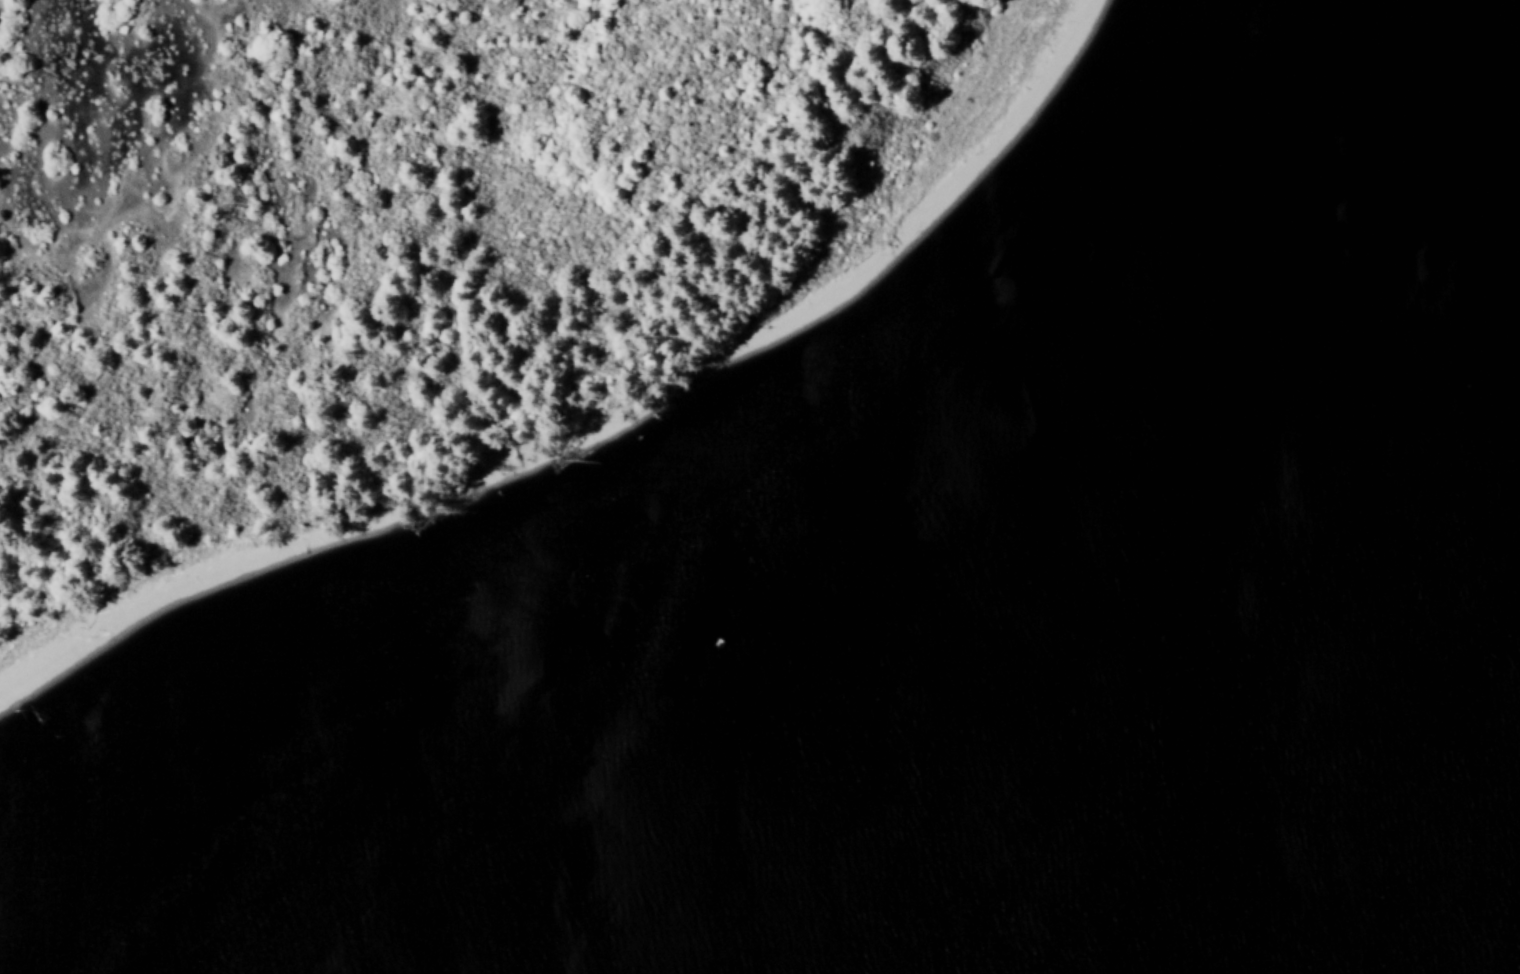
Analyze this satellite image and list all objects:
river: (1427, 906)

